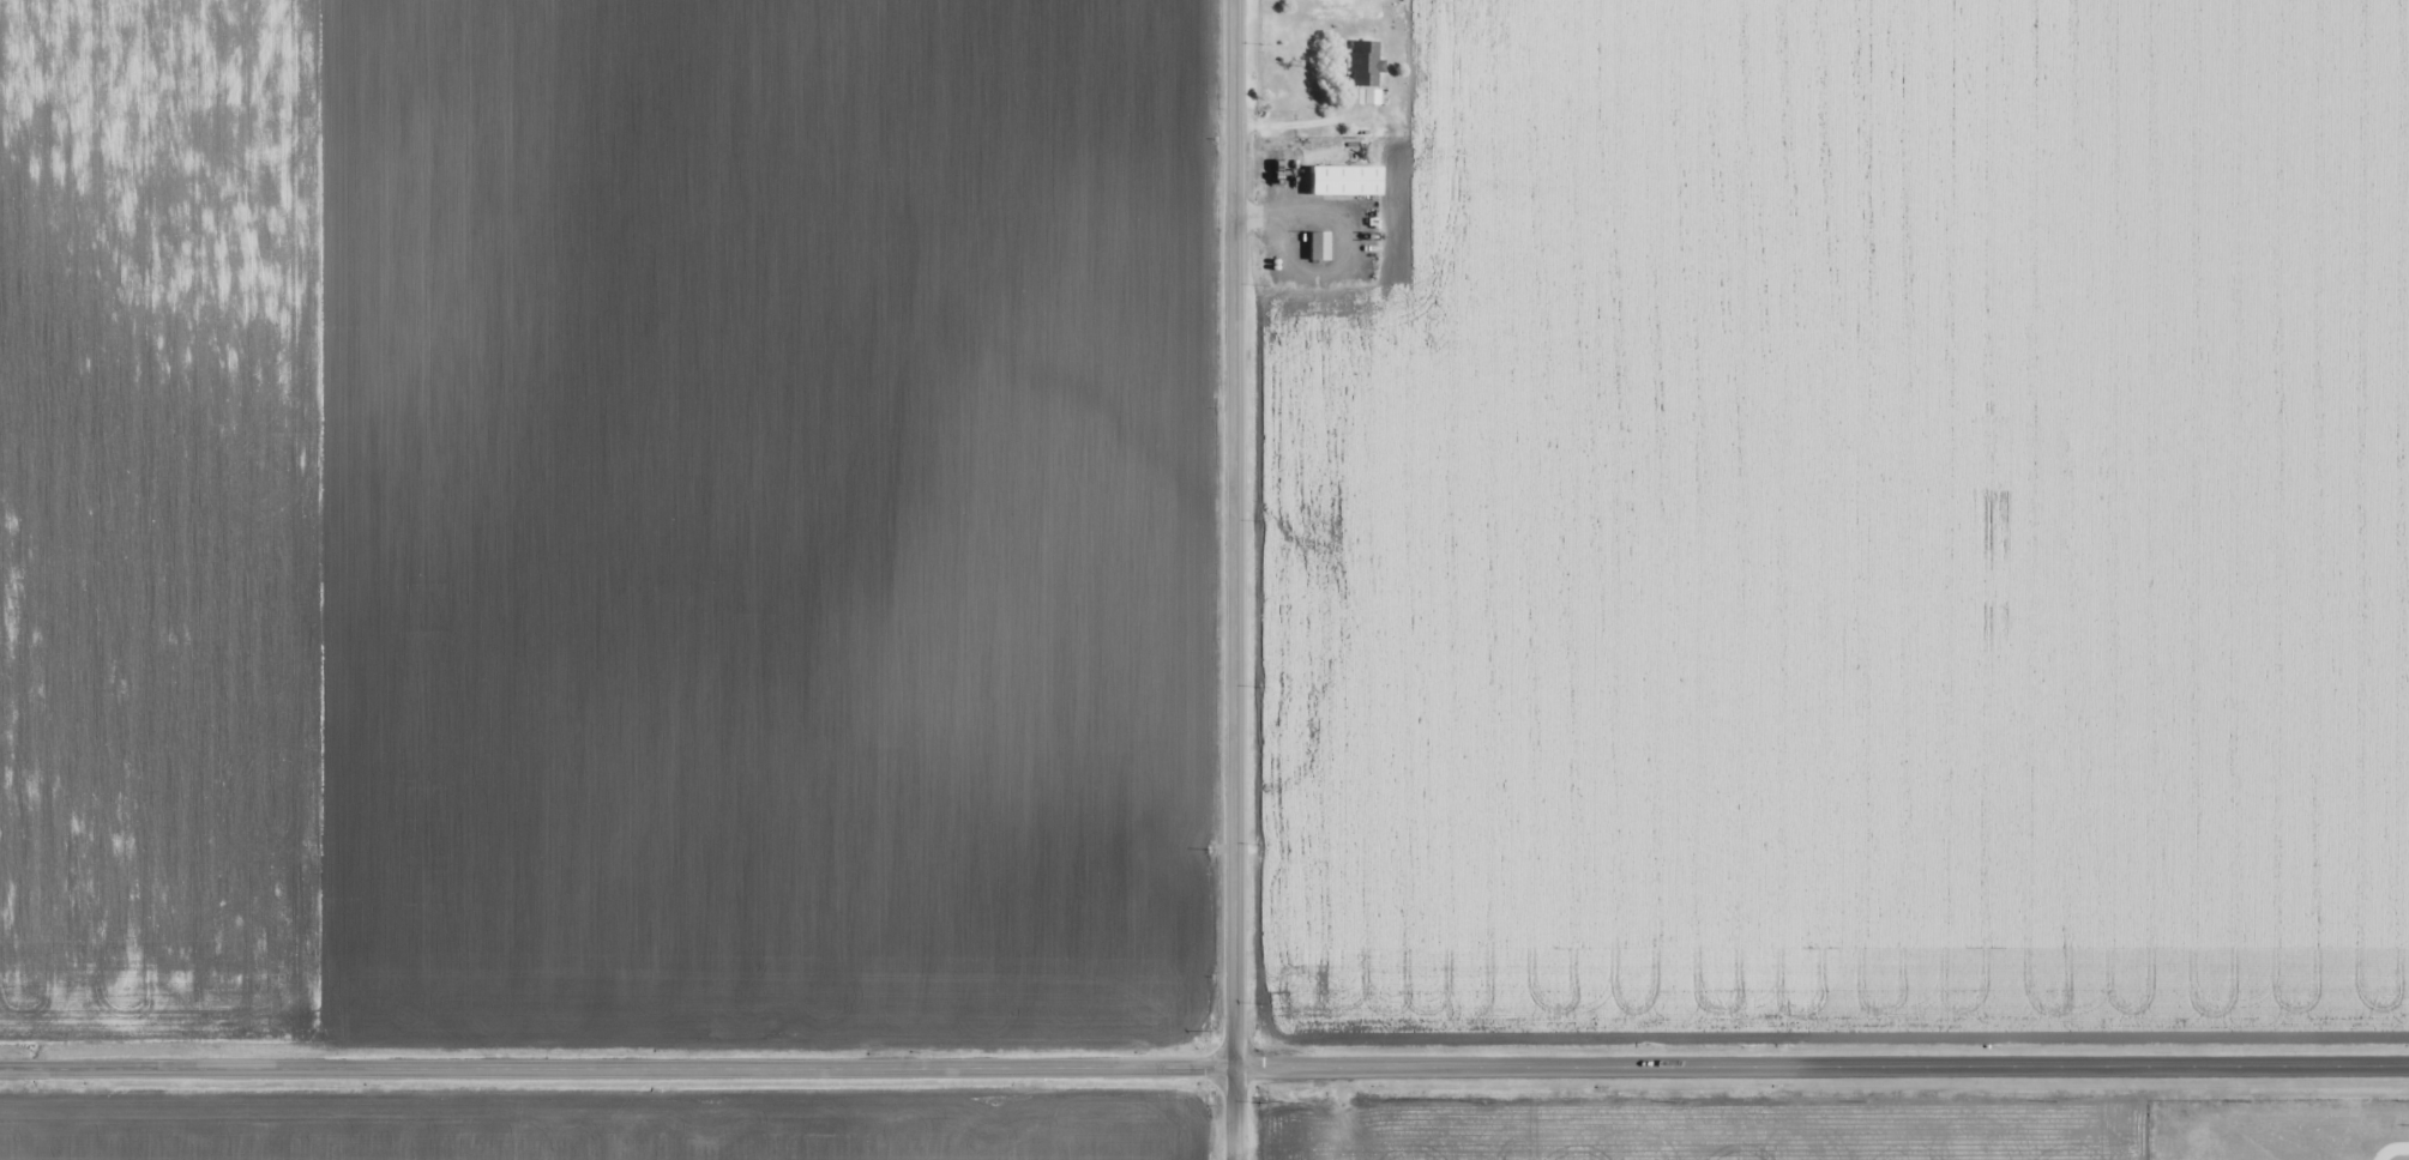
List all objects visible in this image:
building: (1363, 62)
building: (1343, 179)
building: (1317, 243)
road: (1234, 580)
road: (1204, 1065)
building: (1305, 1159)

